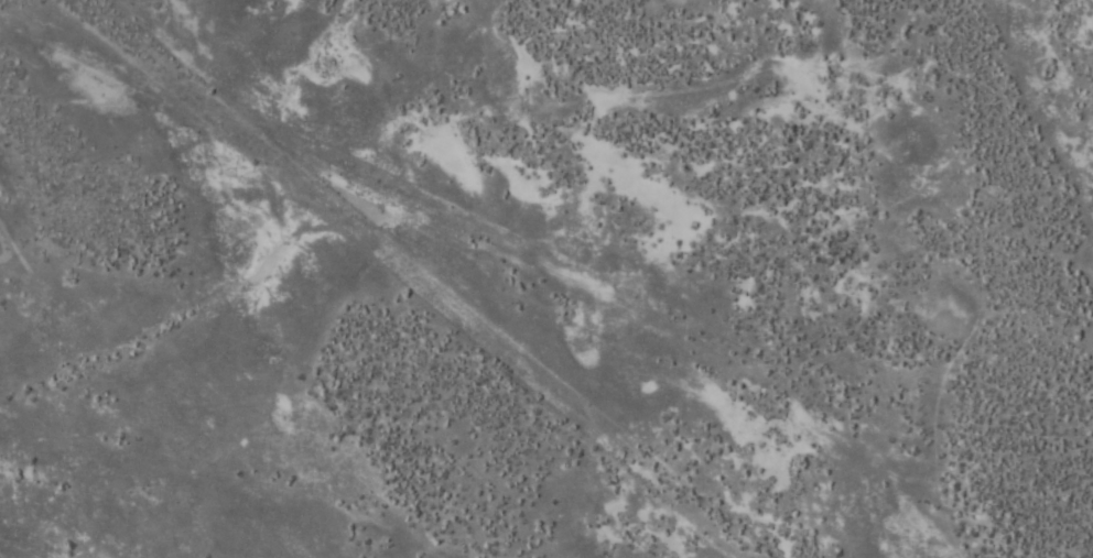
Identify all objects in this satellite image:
road: (809, 217)
crop: (508, 299)

